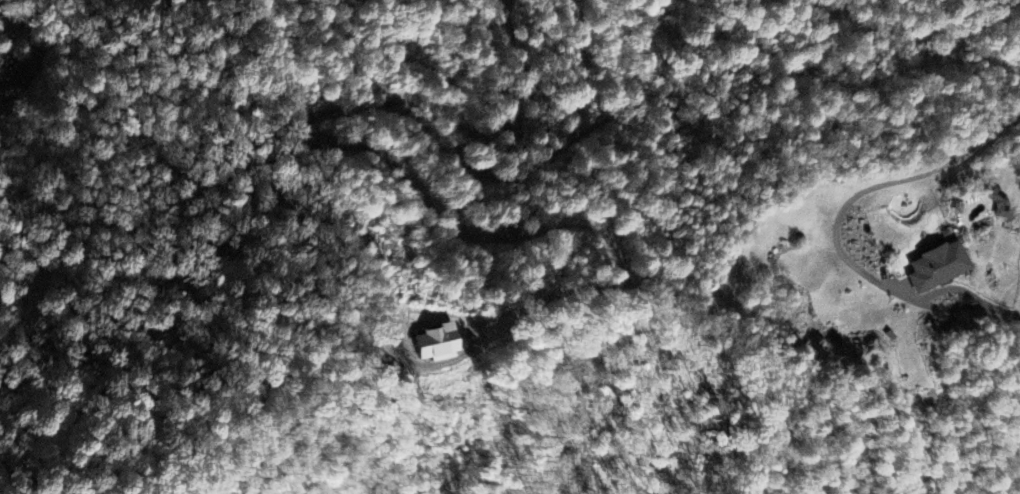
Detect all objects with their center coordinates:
road: (908, 184)
building: (937, 267)
building: (433, 345)

